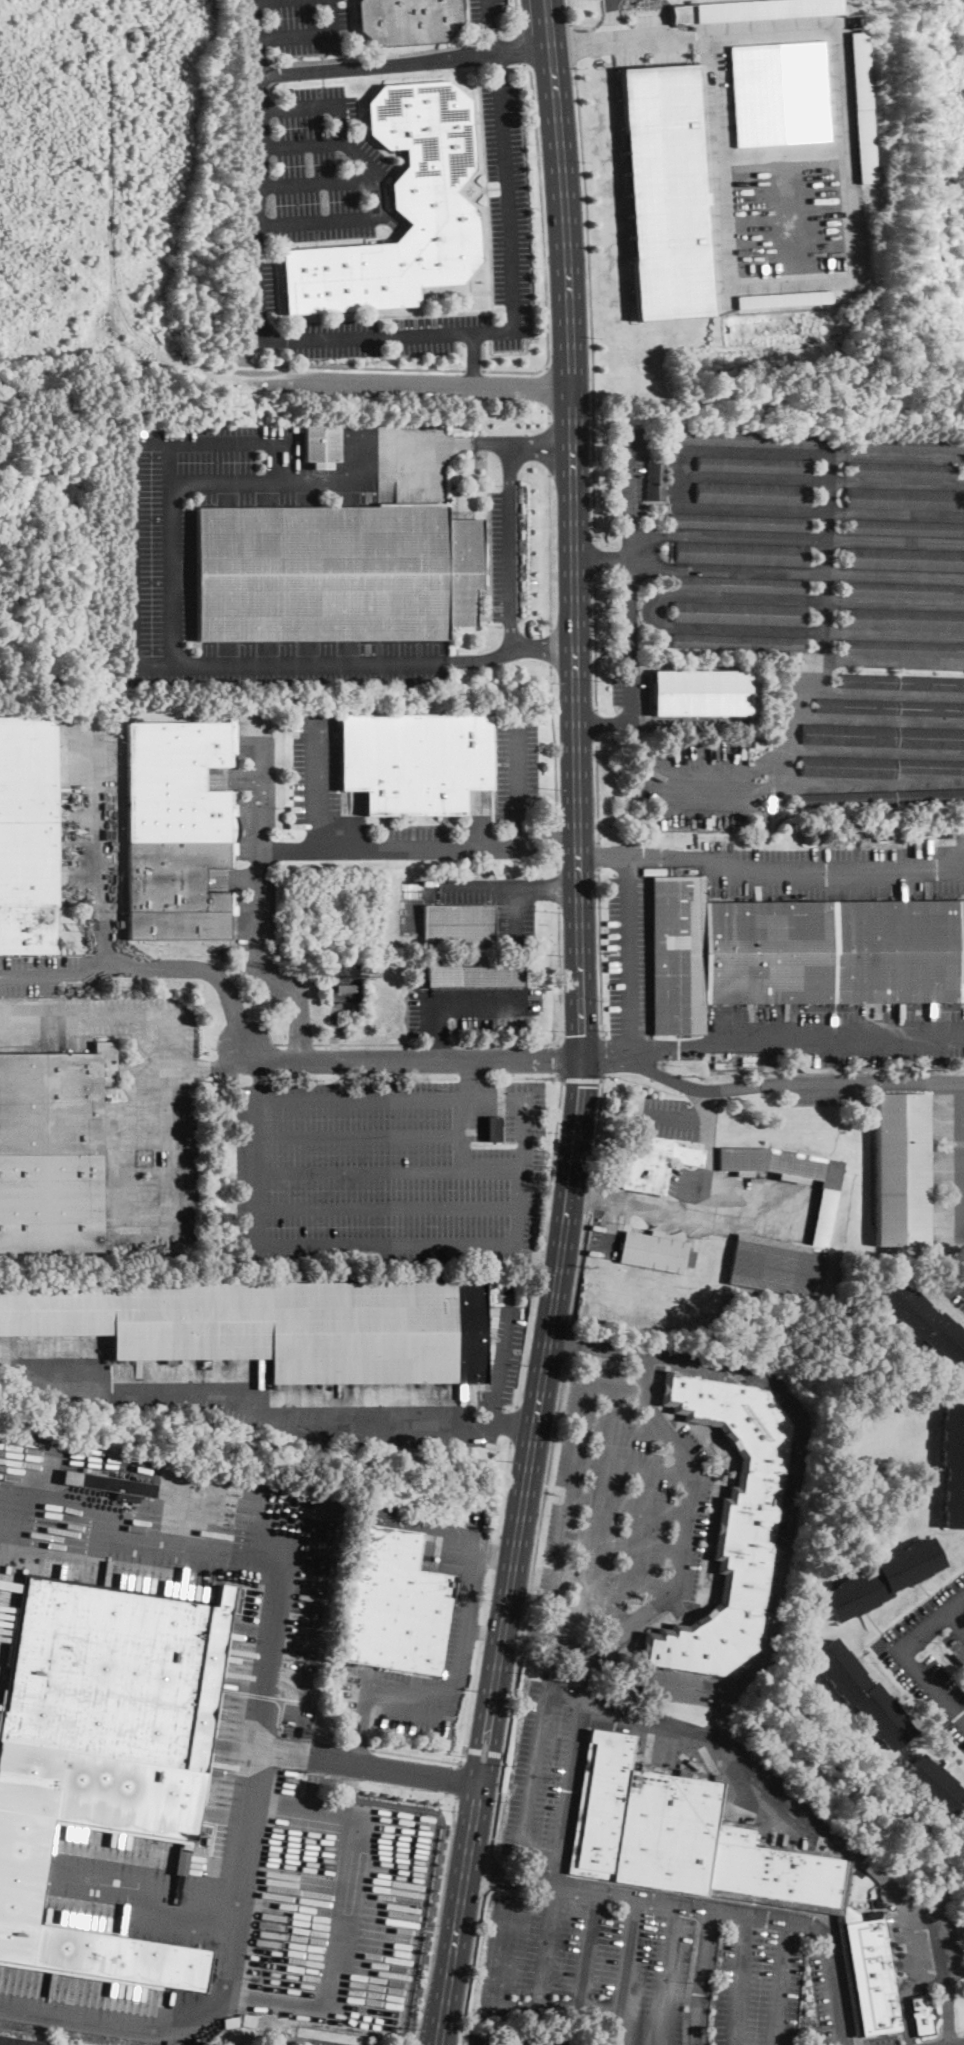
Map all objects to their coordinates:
road: (262, 0)
building: (763, 9)
parking lot: (485, 12)
road: (569, 12)
road: (518, 16)
building: (408, 20)
road: (612, 20)
parking lot: (297, 26)
road: (582, 26)
road: (311, 34)
parking lot: (652, 39)
road: (582, 44)
road: (573, 46)
road: (522, 48)
road: (406, 62)
building: (779, 92)
road: (299, 106)
building: (860, 107)
road: (302, 144)
road: (780, 152)
road: (319, 182)
building: (666, 191)
building: (402, 211)
road: (378, 213)
parking lot: (786, 216)
road: (390, 221)
parking lot: (376, 222)
road: (849, 228)
road: (110, 242)
road: (543, 250)
building: (783, 298)
road: (591, 305)
road: (386, 336)
road: (473, 359)
road: (346, 368)
road: (473, 371)
road: (405, 384)
road: (548, 388)
road: (548, 417)
building: (741, 439)
building: (321, 444)
road: (425, 444)
building: (905, 444)
road: (541, 445)
road: (549, 451)
road: (823, 453)
building: (752, 465)
road: (510, 467)
building: (901, 470)
parking lot: (633, 471)
road: (682, 478)
road: (628, 480)
road: (823, 480)
building: (655, 481)
road: (273, 482)
building: (753, 494)
building: (906, 499)
road: (822, 510)
building: (739, 522)
road: (573, 527)
building: (905, 528)
road: (796, 537)
road: (549, 554)
building: (740, 554)
parking lot: (504, 556)
road: (171, 558)
road: (602, 559)
building: (904, 559)
road: (595, 560)
road: (511, 569)
parking lot: (158, 572)
building: (335, 573)
road: (796, 573)
building: (740, 585)
building: (904, 590)
road: (630, 601)
road: (654, 610)
building: (739, 614)
building: (902, 620)
road: (824, 624)
building: (738, 643)
road: (596, 644)
building: (903, 648)
road: (544, 649)
road: (551, 650)
road: (133, 657)
road: (893, 663)
building: (902, 683)
parking lot: (631, 689)
building: (700, 693)
road: (883, 693)
road: (630, 697)
building: (890, 708)
road: (878, 718)
road: (602, 723)
road: (597, 724)
building: (883, 737)
road: (554, 744)
road: (873, 752)
building: (415, 761)
building: (875, 767)
parking lot: (518, 769)
parking lot: (314, 770)
parking lot: (703, 782)
road: (872, 782)
road: (683, 784)
road: (315, 785)
road: (597, 791)
building: (881, 798)
parking lot: (89, 816)
parking lot: (256, 826)
building: (177, 830)
road: (548, 832)
building: (27, 834)
road: (257, 834)
road: (557, 835)
building: (830, 841)
parking lot: (418, 842)
road: (450, 847)
road: (107, 851)
road: (599, 857)
road: (654, 859)
road: (557, 861)
parking lot: (837, 871)
road: (845, 872)
road: (546, 888)
road: (558, 888)
road: (473, 889)
parking lot: (494, 902)
road: (513, 910)
building: (457, 924)
building: (797, 953)
road: (600, 954)
parking lot: (629, 954)
road: (630, 955)
road: (53, 968)
road: (201, 968)
parking lot: (49, 973)
road: (559, 974)
building: (471, 975)
building: (345, 988)
road: (297, 997)
road: (462, 1003)
parking lot: (473, 1009)
road: (99, 1019)
road: (334, 1025)
road: (830, 1033)
parking lot: (841, 1034)
road: (582, 1037)
road: (504, 1043)
road: (281, 1044)
road: (300, 1044)
road: (373, 1044)
road: (441, 1044)
road: (438, 1047)
road: (640, 1051)
traffic signals: (582, 1056)
road: (603, 1058)
road: (411, 1059)
road: (559, 1060)
building: (750, 1061)
building: (720, 1066)
road: (209, 1067)
road: (259, 1079)
road: (472, 1079)
road: (582, 1079)
road: (917, 1081)
road: (826, 1082)
parking lot: (827, 1087)
road: (702, 1088)
road: (460, 1100)
parking lot: (134, 1113)
parking lot: (669, 1117)
road: (676, 1117)
road: (707, 1128)
building: (493, 1129)
road: (464, 1133)
road: (596, 1134)
road: (358, 1135)
building: (52, 1149)
building: (148, 1158)
building: (141, 1159)
building: (652, 1162)
road: (388, 1169)
building: (901, 1170)
parking lot: (387, 1171)
parking lot: (689, 1184)
road: (705, 1191)
road: (745, 1196)
road: (587, 1200)
road: (635, 1204)
road: (385, 1208)
building: (823, 1209)
road: (135, 1228)
road: (610, 1229)
parking lot: (603, 1236)
road: (542, 1241)
road: (311, 1243)
building: (654, 1252)
road: (579, 1267)
parking lot: (955, 1291)
road: (946, 1298)
building: (922, 1322)
building: (273, 1326)
road: (568, 1341)
parking lot: (504, 1358)
road: (502, 1365)
road: (543, 1370)
road: (645, 1375)
parking lot: (247, 1396)
road: (269, 1417)
road: (513, 1423)
road: (626, 1426)
road: (1, 1455)
building: (953, 1464)
road: (636, 1467)
road: (793, 1467)
building: (111, 1485)
road: (545, 1486)
road: (503, 1491)
road: (573, 1497)
road: (630, 1504)
parking lot: (622, 1510)
road: (686, 1514)
road: (191, 1523)
building: (729, 1525)
road: (448, 1526)
road: (624, 1543)
road: (124, 1547)
road: (493, 1557)
road: (494, 1557)
parking lot: (183, 1568)
road: (618, 1580)
building: (882, 1580)
road: (487, 1598)
building: (393, 1605)
road: (595, 1615)
parking lot: (464, 1618)
road: (956, 1620)
road: (521, 1630)
road: (482, 1632)
road: (482, 1633)
road: (544, 1638)
road: (875, 1653)
road: (906, 1654)
parking lot: (931, 1655)
road: (457, 1669)
building: (556, 1676)
road: (589, 1676)
building: (861, 1694)
road: (723, 1714)
road: (361, 1728)
road: (476, 1731)
building: (304, 1732)
road: (497, 1735)
road: (464, 1747)
road: (259, 1749)
road: (361, 1749)
building: (104, 1751)
road: (484, 1751)
road: (504, 1751)
parking lot: (548, 1769)
road: (393, 1770)
road: (538, 1770)
road: (574, 1775)
road: (458, 1781)
road: (775, 1788)
building: (935, 1789)
building: (683, 1835)
road: (236, 1867)
road: (559, 1871)
road: (487, 1873)
road: (146, 1891)
road: (652, 1899)
parking lot: (346, 1913)
parking lot: (167, 1914)
road: (458, 1914)
road: (439, 1921)
road: (506, 1932)
road: (907, 1936)
parking lot: (923, 1937)
road: (548, 1948)
road: (588, 1952)
road: (941, 1952)
road: (472, 1969)
road: (626, 1970)
parking lot: (645, 1971)
road: (666, 1973)
building: (871, 1975)
road: (703, 1976)
road: (738, 1979)
building: (848, 1980)
road: (783, 1983)
parking lot: (830, 1995)
road: (904, 1995)
road: (834, 1996)
road: (558, 2011)
road: (947, 2012)
building: (921, 2015)
parking lot: (482, 2036)
road: (478, 2038)
building: (527, 2040)
parking lot: (562, 2040)
parking lot: (884, 2040)
building: (18, 2042)
road: (562, 2042)
road: (963, 2042)
building: (303, 2044)
building: (308, 2044)

